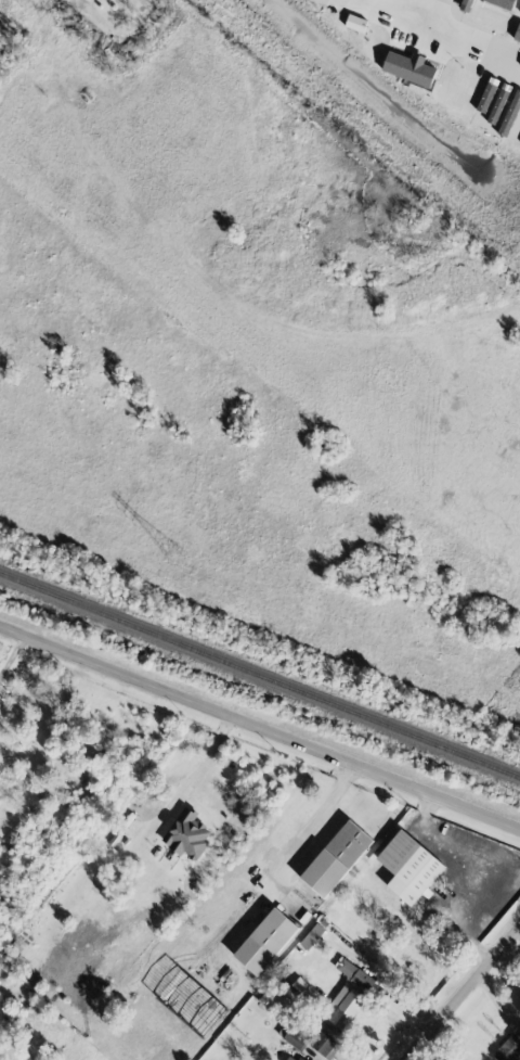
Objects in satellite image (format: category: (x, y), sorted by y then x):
road: (416, 18)
building: (407, 68)
power tower: (170, 555)
road: (12, 650)
railway: (260, 674)
road: (259, 726)
road: (194, 777)
road: (313, 818)
building: (186, 834)
building: (336, 858)
building: (408, 866)
building: (273, 931)
building: (311, 936)
building: (347, 994)
road: (468, 1000)
building: (324, 1043)
building: (507, 1048)
building: (291, 1057)

